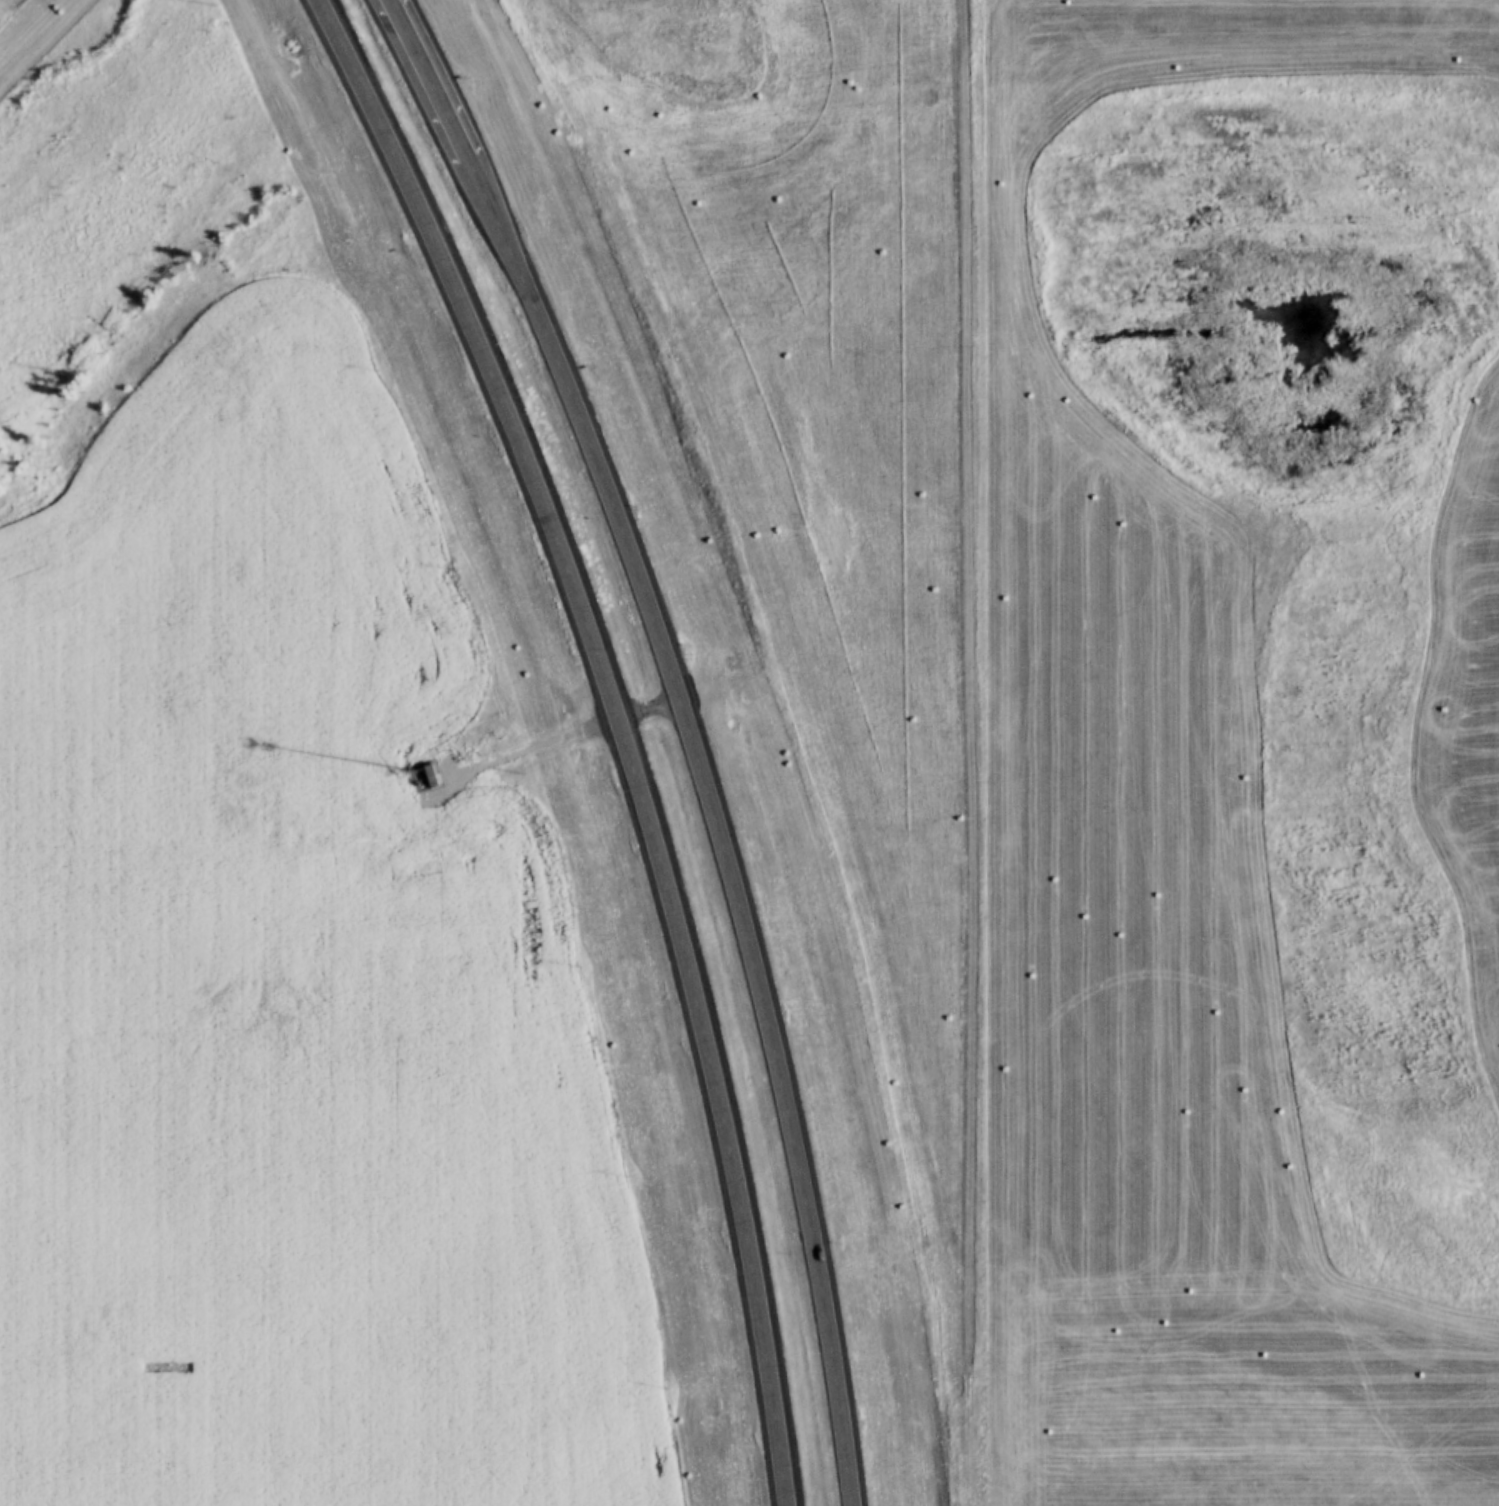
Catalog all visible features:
road: (428, 75)
road: (417, 209)
road: (542, 324)
quarry: (1164, 566)
road: (645, 712)
road: (514, 755)
building: (432, 777)
road: (682, 955)
road: (756, 997)
road: (984, 1181)

